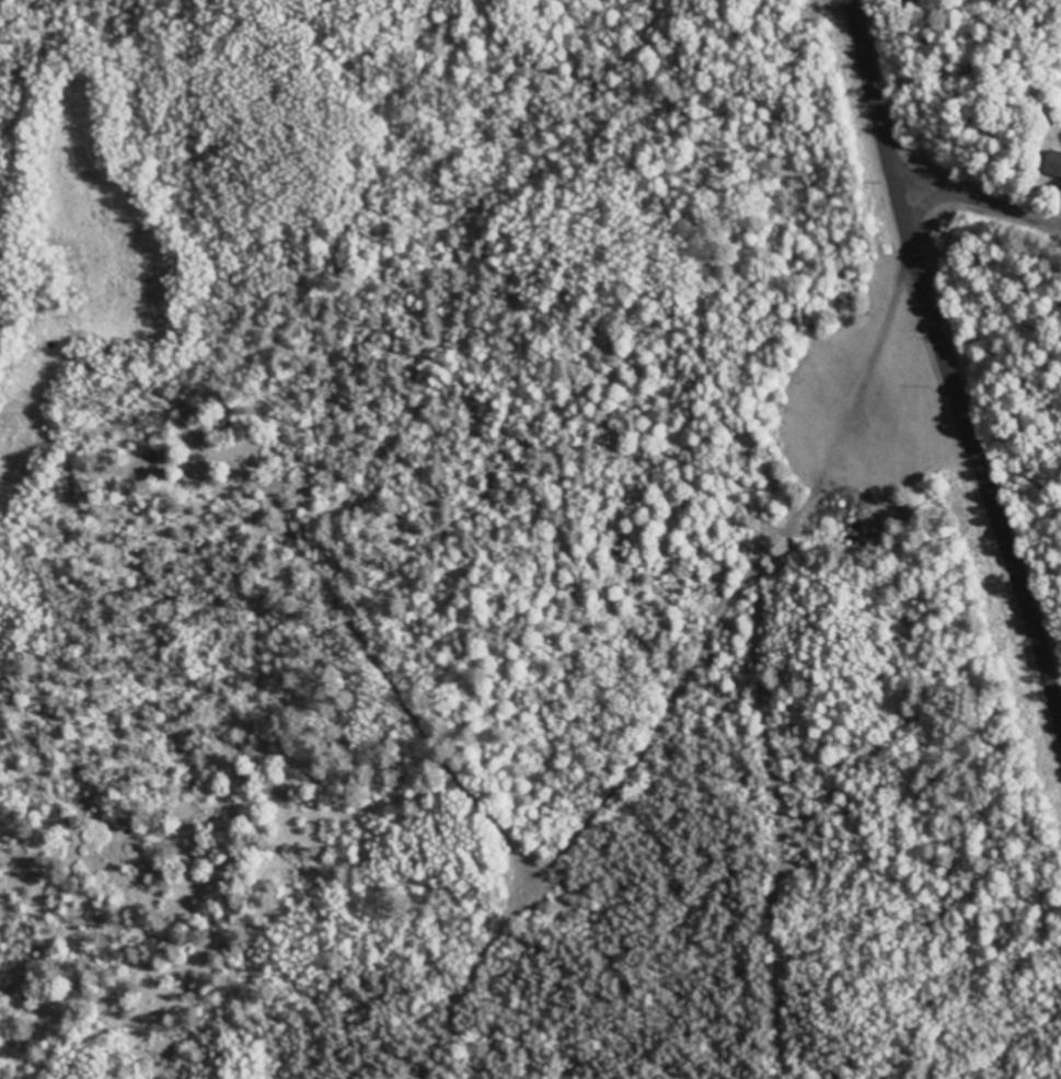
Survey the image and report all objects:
building: (1058, 162)
road: (962, 207)
road: (918, 410)

